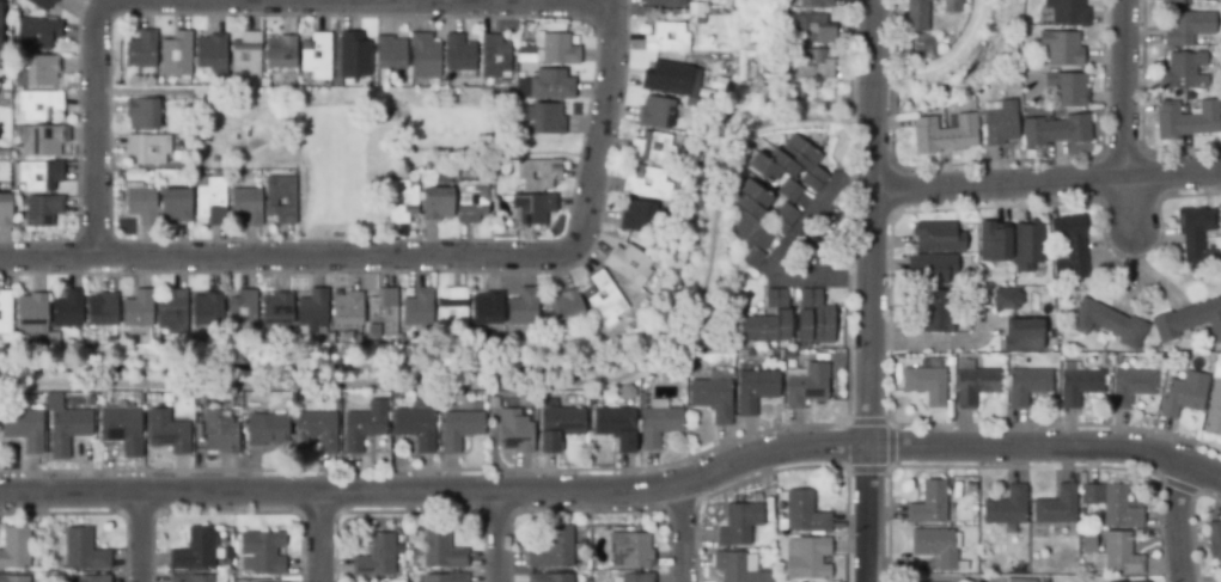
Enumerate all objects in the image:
building: (1174, 0)
road: (231, 2)
building: (41, 4)
building: (664, 4)
building: (816, 5)
building: (695, 6)
building: (1066, 12)
building: (928, 13)
building: (700, 18)
building: (814, 30)
building: (1188, 30)
building: (37, 32)
building: (667, 41)
road: (872, 41)
building: (1060, 47)
building: (751, 48)
building: (141, 51)
building: (558, 51)
building: (210, 53)
building: (246, 54)
building: (281, 55)
building: (176, 56)
building: (315, 56)
building: (391, 56)
building: (354, 57)
building: (459, 57)
building: (426, 59)
building: (494, 59)
building: (725, 60)
building: (812, 67)
building: (37, 71)
building: (1184, 73)
building: (667, 80)
building: (555, 86)
road: (1123, 87)
building: (1067, 90)
road: (873, 98)
building: (38, 104)
building: (655, 114)
building: (142, 116)
building: (548, 121)
building: (1189, 121)
building: (999, 123)
building: (1054, 129)
building: (945, 136)
building: (39, 140)
park: (348, 141)
building: (149, 151)
building: (653, 151)
building: (788, 163)
building: (391, 176)
building: (537, 176)
building: (51, 177)
road: (1045, 180)
building: (646, 183)
building: (787, 190)
building: (281, 202)
road: (1127, 203)
building: (210, 204)
building: (402, 204)
building: (472, 204)
building: (142, 206)
building: (439, 206)
building: (4, 208)
building: (176, 208)
building: (42, 209)
building: (246, 209)
building: (535, 212)
building: (781, 218)
building: (637, 219)
building: (750, 222)
building: (936, 237)
building: (1197, 241)
building: (996, 244)
road: (781, 249)
building: (1070, 249)
building: (1030, 250)
road: (413, 257)
building: (630, 267)
building: (933, 268)
building: (775, 298)
building: (603, 299)
building: (1007, 301)
building: (452, 310)
building: (488, 310)
building: (524, 310)
building: (67, 311)
building: (138, 311)
building: (417, 311)
building: (567, 311)
building: (102, 312)
building: (207, 312)
building: (277, 312)
building: (313, 312)
building: (347, 313)
building: (5, 314)
building: (32, 314)
building: (243, 314)
building: (939, 314)
building: (172, 315)
building: (381, 315)
building: (814, 319)
building: (1188, 321)
building: (1105, 323)
building: (764, 326)
building: (1025, 337)
building: (53, 341)
road: (935, 344)
road: (871, 348)
building: (926, 386)
building: (975, 386)
road: (518, 387)
building: (1028, 387)
building: (1080, 387)
building: (807, 388)
building: (1131, 388)
building: (755, 392)
building: (1184, 396)
building: (713, 400)
building: (494, 404)
building: (1214, 411)
building: (63, 425)
building: (560, 427)
building: (265, 428)
building: (365, 428)
building: (617, 428)
building: (659, 428)
building: (315, 429)
building: (416, 429)
building: (23, 430)
building: (122, 430)
building: (460, 430)
building: (219, 433)
building: (167, 434)
building: (515, 434)
building: (969, 486)
road: (617, 489)
building: (1091, 494)
building: (928, 502)
building: (1056, 506)
building: (1006, 507)
building: (1118, 508)
building: (802, 511)
building: (1081, 511)
road: (1174, 521)
building: (738, 523)
road: (680, 533)
road: (140, 537)
road: (318, 537)
road: (497, 537)
building: (1214, 539)
building: (1087, 541)
building: (935, 545)
building: (14, 547)
building: (440, 547)
building: (552, 549)
building: (630, 549)
building: (194, 550)
building: (80, 551)
building: (263, 551)
building: (1119, 553)
building: (376, 556)
building: (808, 559)
building: (738, 566)
building: (13, 577)
building: (444, 577)
building: (549, 577)
building: (634, 577)
building: (92, 578)
building: (190, 578)
building: (1019, 580)
building: (1136, 581)

